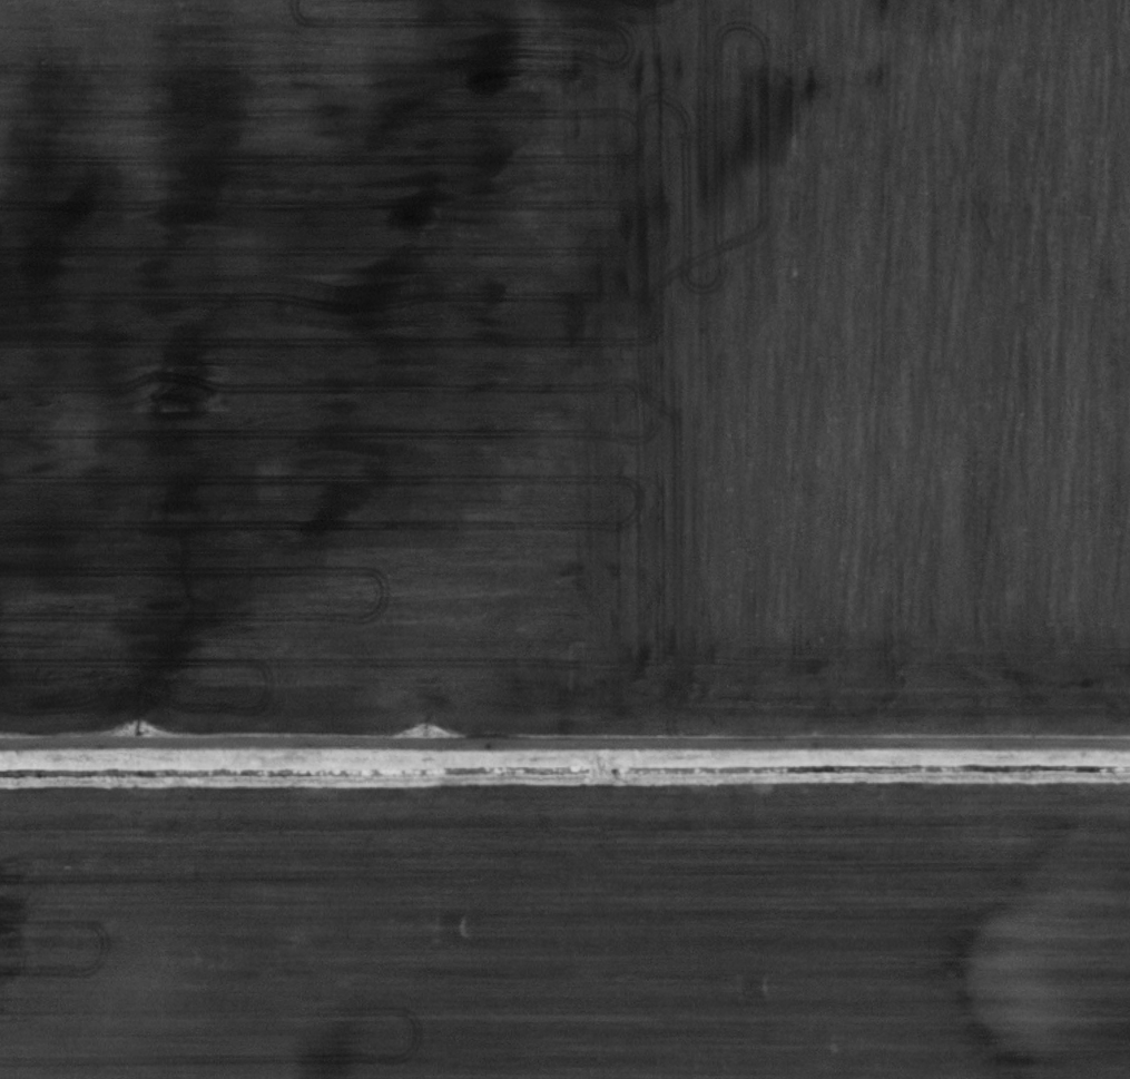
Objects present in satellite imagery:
road: (564, 748)

